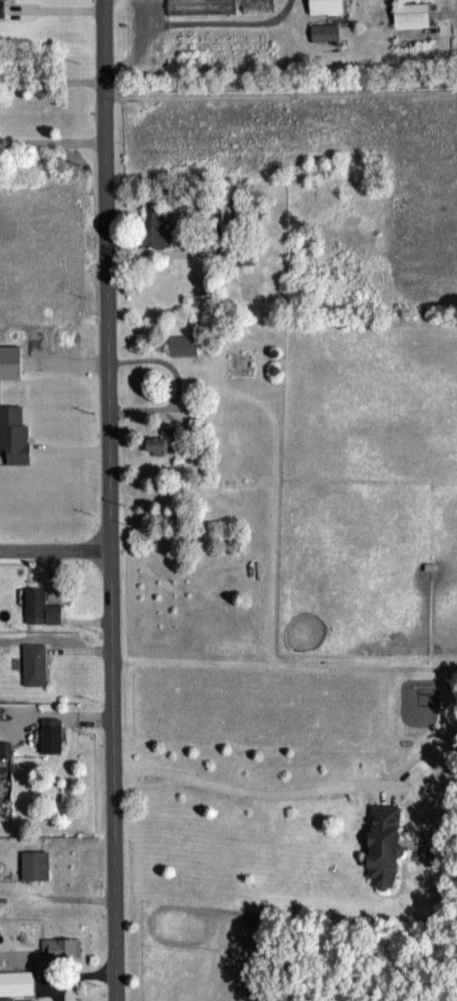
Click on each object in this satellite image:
building: (221, 6)
building: (329, 6)
building: (3, 8)
building: (414, 15)
building: (327, 32)
road: (52, 78)
road: (281, 90)
road: (52, 139)
building: (328, 170)
building: (226, 207)
building: (157, 228)
building: (185, 344)
building: (242, 361)
building: (12, 362)
building: (15, 433)
building: (165, 441)
road: (110, 500)
road: (55, 549)
building: (43, 607)
building: (36, 663)
building: (54, 737)
building: (49, 790)
road: (245, 790)
building: (387, 844)
building: (37, 864)
building: (62, 947)
road: (75, 973)
building: (17, 985)

